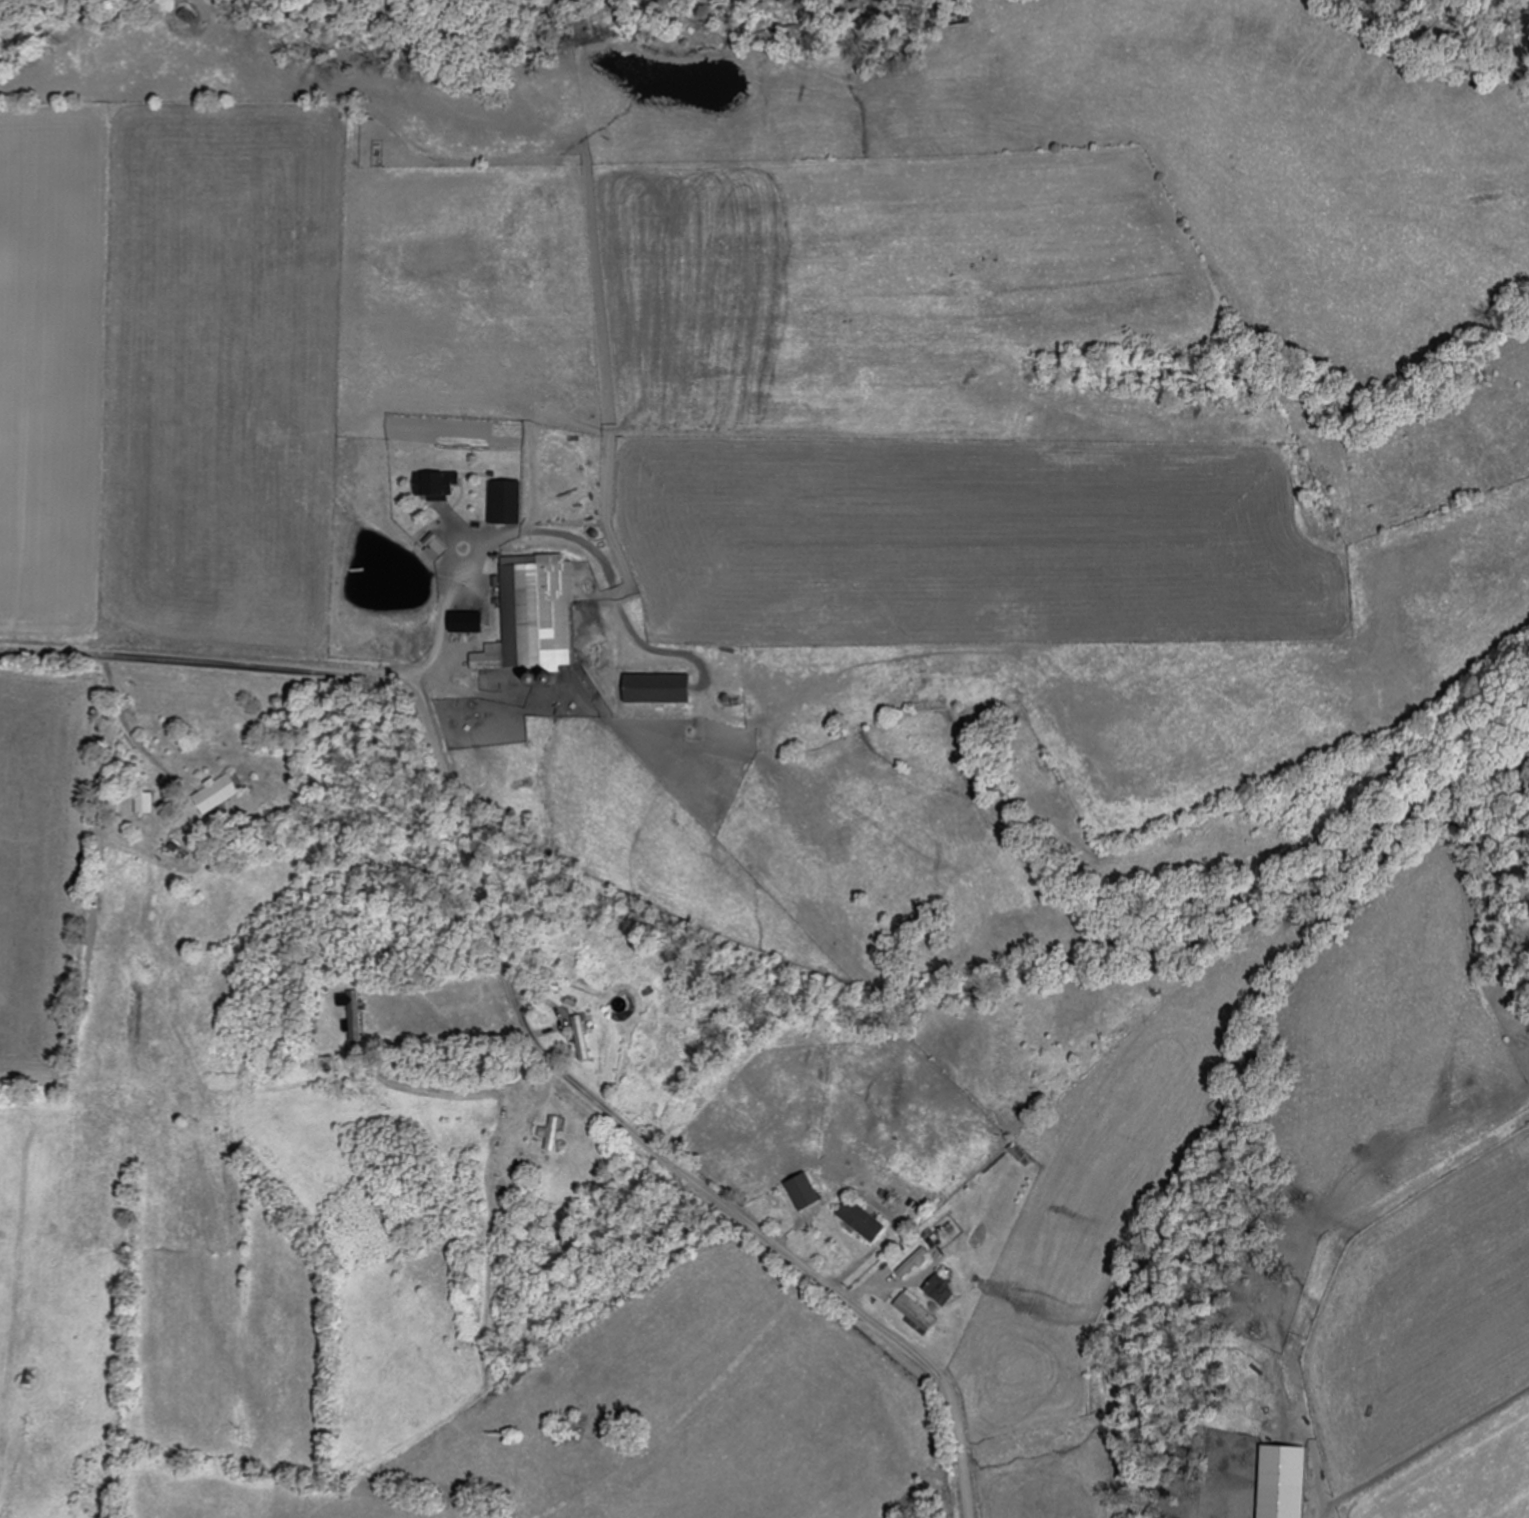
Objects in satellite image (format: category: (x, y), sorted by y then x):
building: (439, 484)
building: (534, 616)
building: (468, 619)
building: (659, 688)
building: (767, 739)
building: (219, 793)
building: (145, 802)
road: (509, 989)
building: (582, 1037)
road: (442, 1038)
building: (223, 1059)
building: (552, 1134)
building: (806, 1193)
building: (864, 1221)
building: (914, 1263)
building: (943, 1290)
building: (919, 1315)

